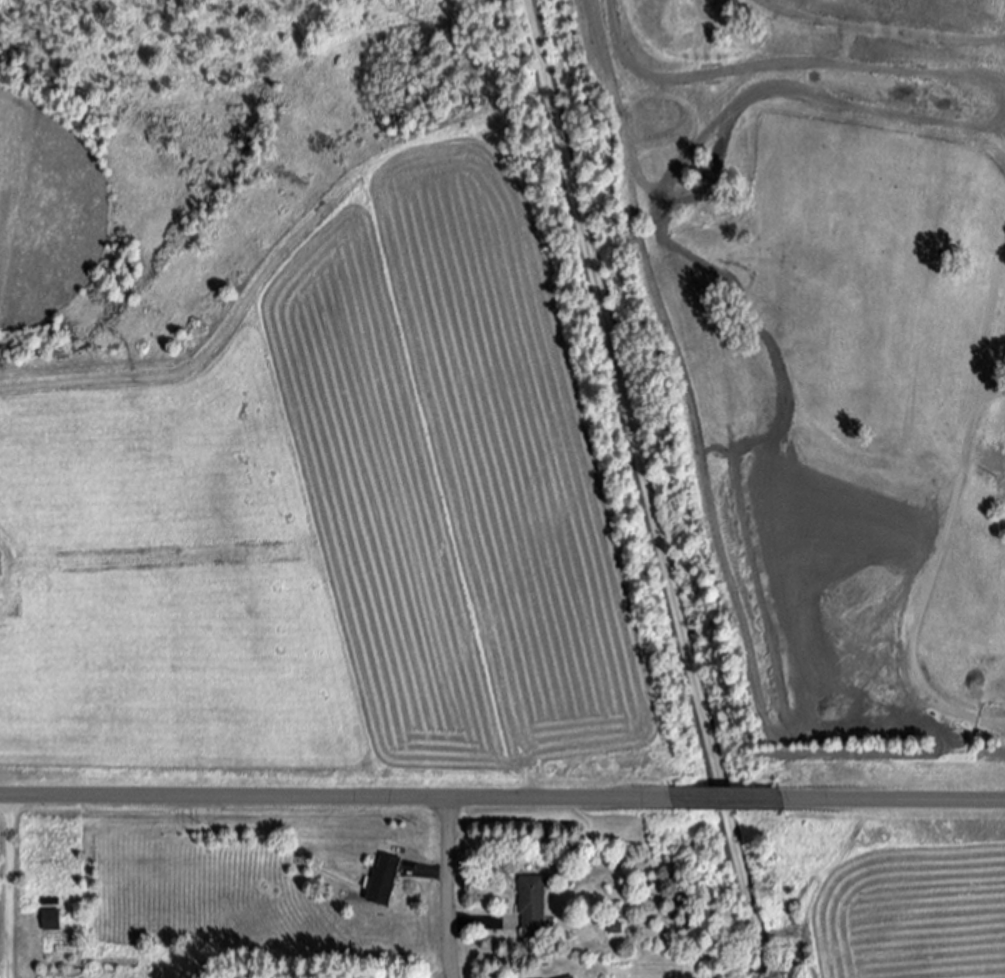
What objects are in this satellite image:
road: (644, 489)
road: (928, 587)
road: (325, 797)
road: (733, 800)
road: (910, 801)
building: (386, 878)
road: (6, 887)
road: (445, 888)
building: (533, 902)
building: (52, 919)
road: (470, 926)
building: (616, 927)
road: (3, 969)
building: (571, 976)

